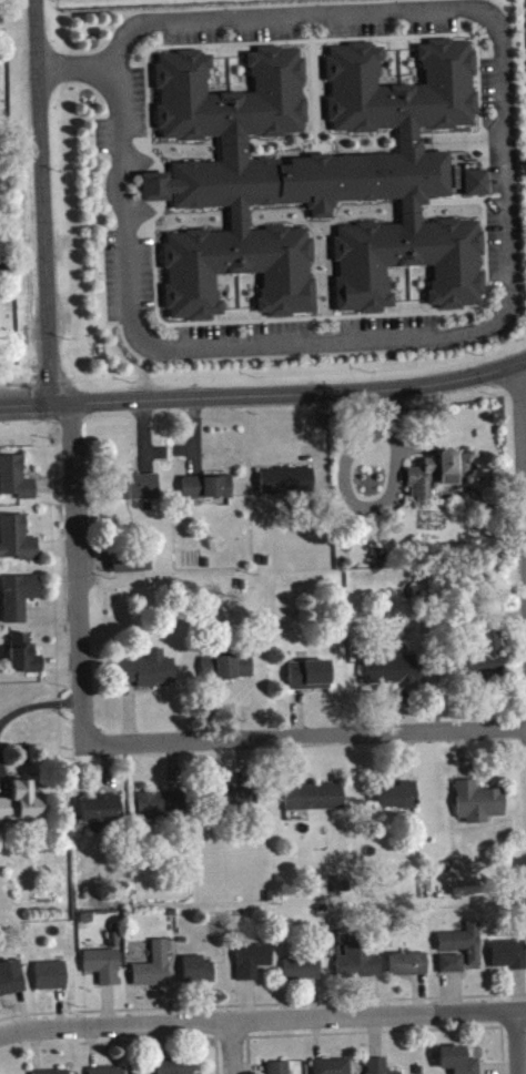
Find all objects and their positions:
building: (477, 188)
road: (44, 203)
road: (510, 263)
road: (263, 398)
road: (524, 416)
building: (438, 478)
building: (17, 484)
building: (289, 486)
building: (136, 493)
building: (209, 493)
building: (17, 544)
building: (134, 569)
road: (79, 577)
building: (20, 601)
building: (488, 659)
building: (26, 660)
building: (209, 672)
building: (234, 672)
building: (151, 676)
building: (392, 676)
building: (311, 680)
road: (39, 703)
road: (306, 741)
building: (315, 802)
building: (399, 802)
building: (230, 805)
building: (21, 808)
building: (479, 808)
building: (161, 811)
building: (102, 818)
building: (464, 948)
building: (509, 960)
building: (253, 965)
building: (360, 967)
building: (453, 969)
building: (409, 970)
building: (104, 971)
building: (154, 973)
building: (303, 974)
building: (199, 976)
building: (51, 981)
building: (11, 983)
road: (262, 1026)
road: (520, 1045)
road: (234, 1051)
building: (457, 1064)
building: (178, 1068)
building: (333, 1068)
building: (377, 1068)
building: (280, 1071)
building: (111, 1073)

